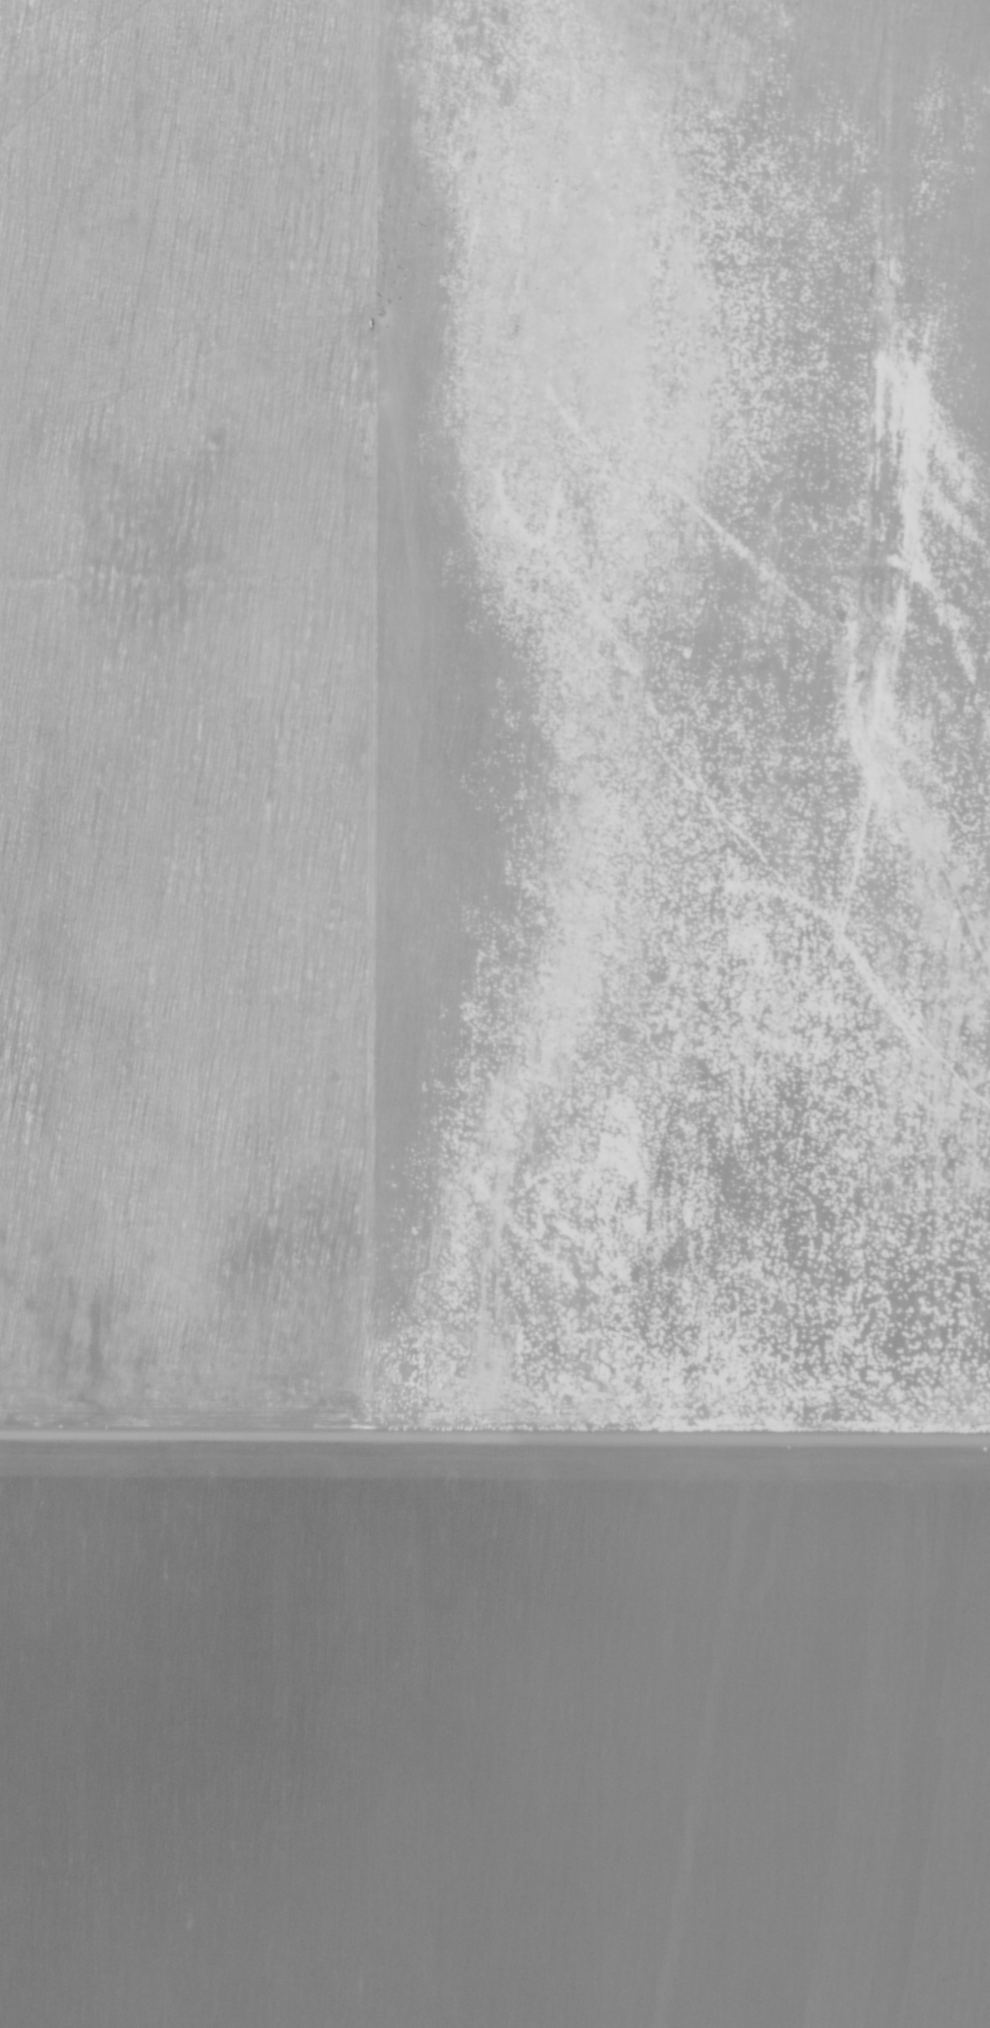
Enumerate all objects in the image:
road: (495, 1439)

